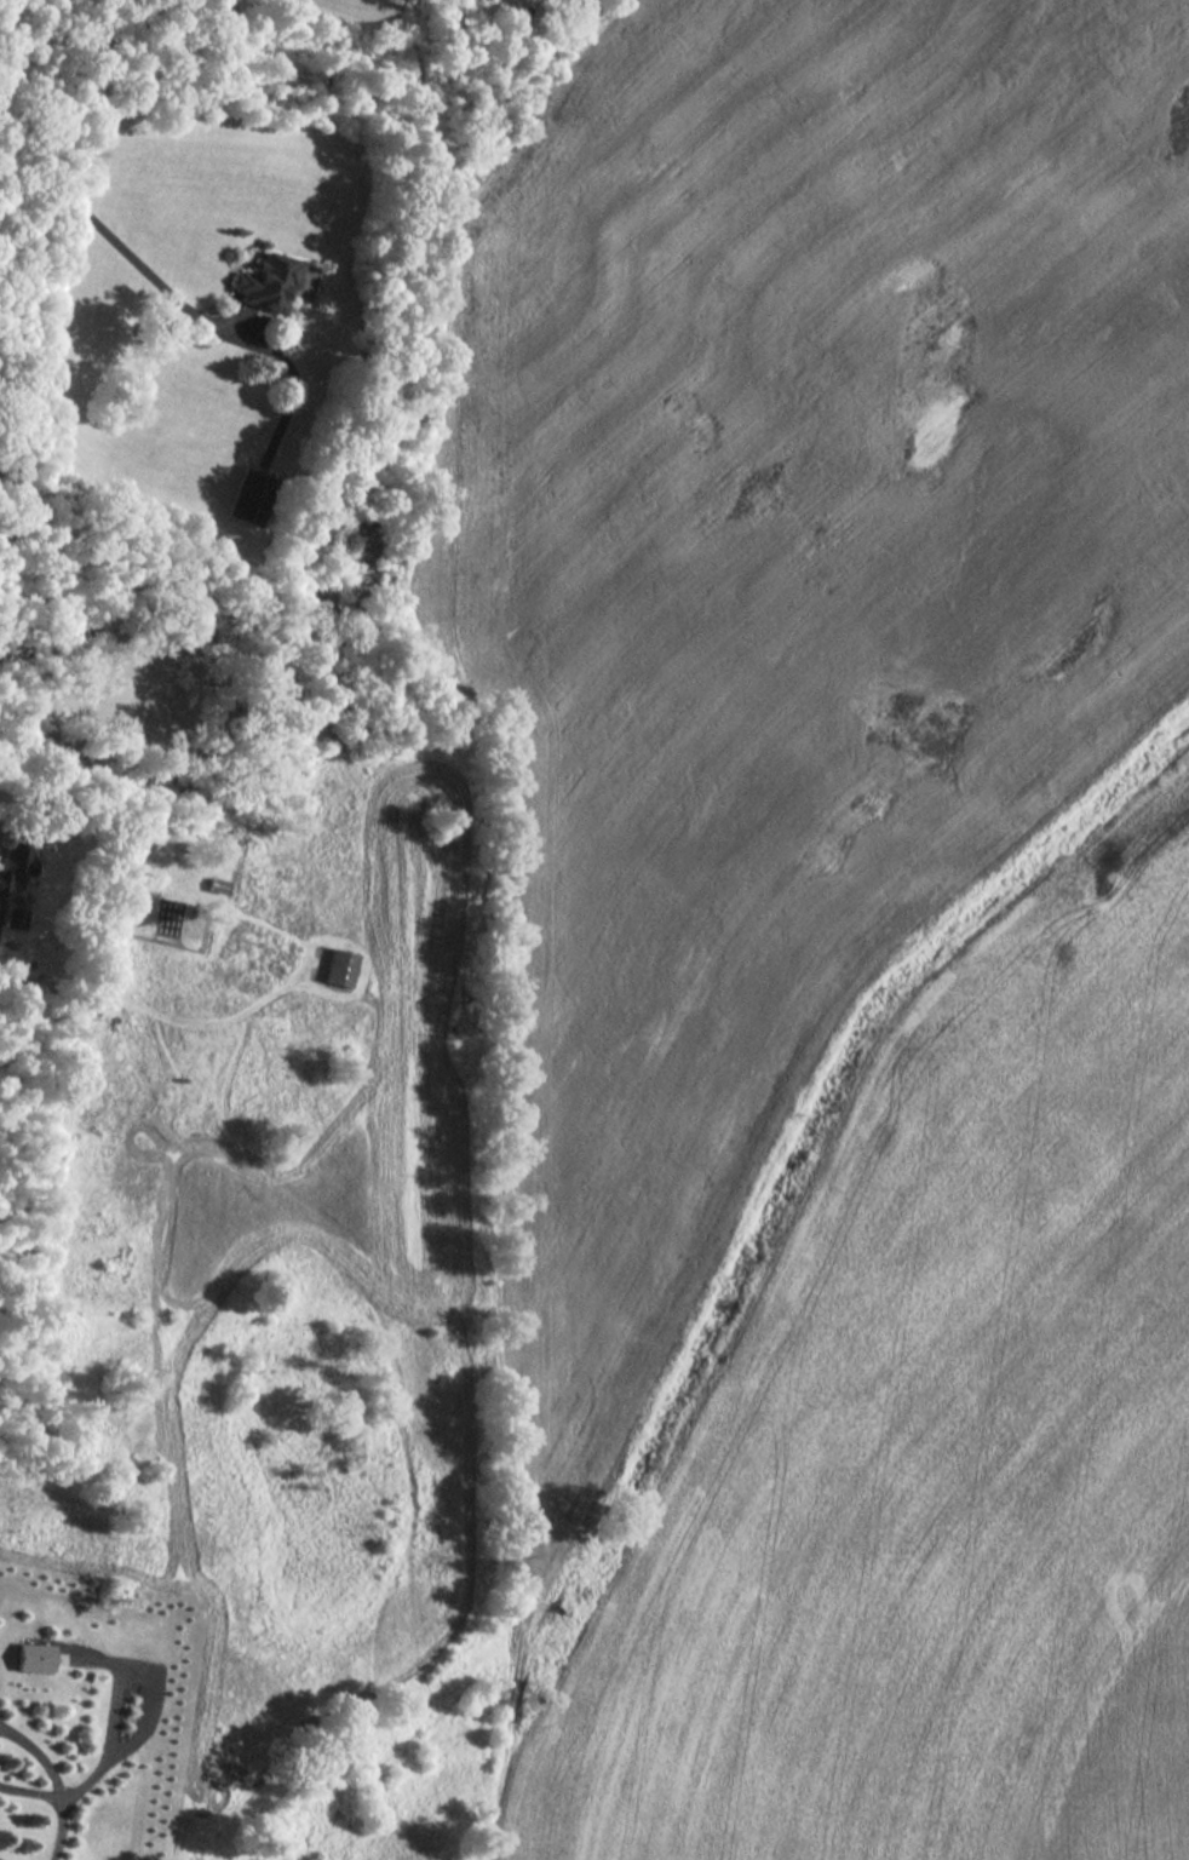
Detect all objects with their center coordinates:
road: (31, 42)
road: (6, 64)
road: (120, 247)
building: (272, 281)
building: (248, 494)
building: (339, 966)
building: (33, 1655)
road: (115, 1716)
road: (40, 1753)
road: (30, 1795)
road: (59, 1829)

